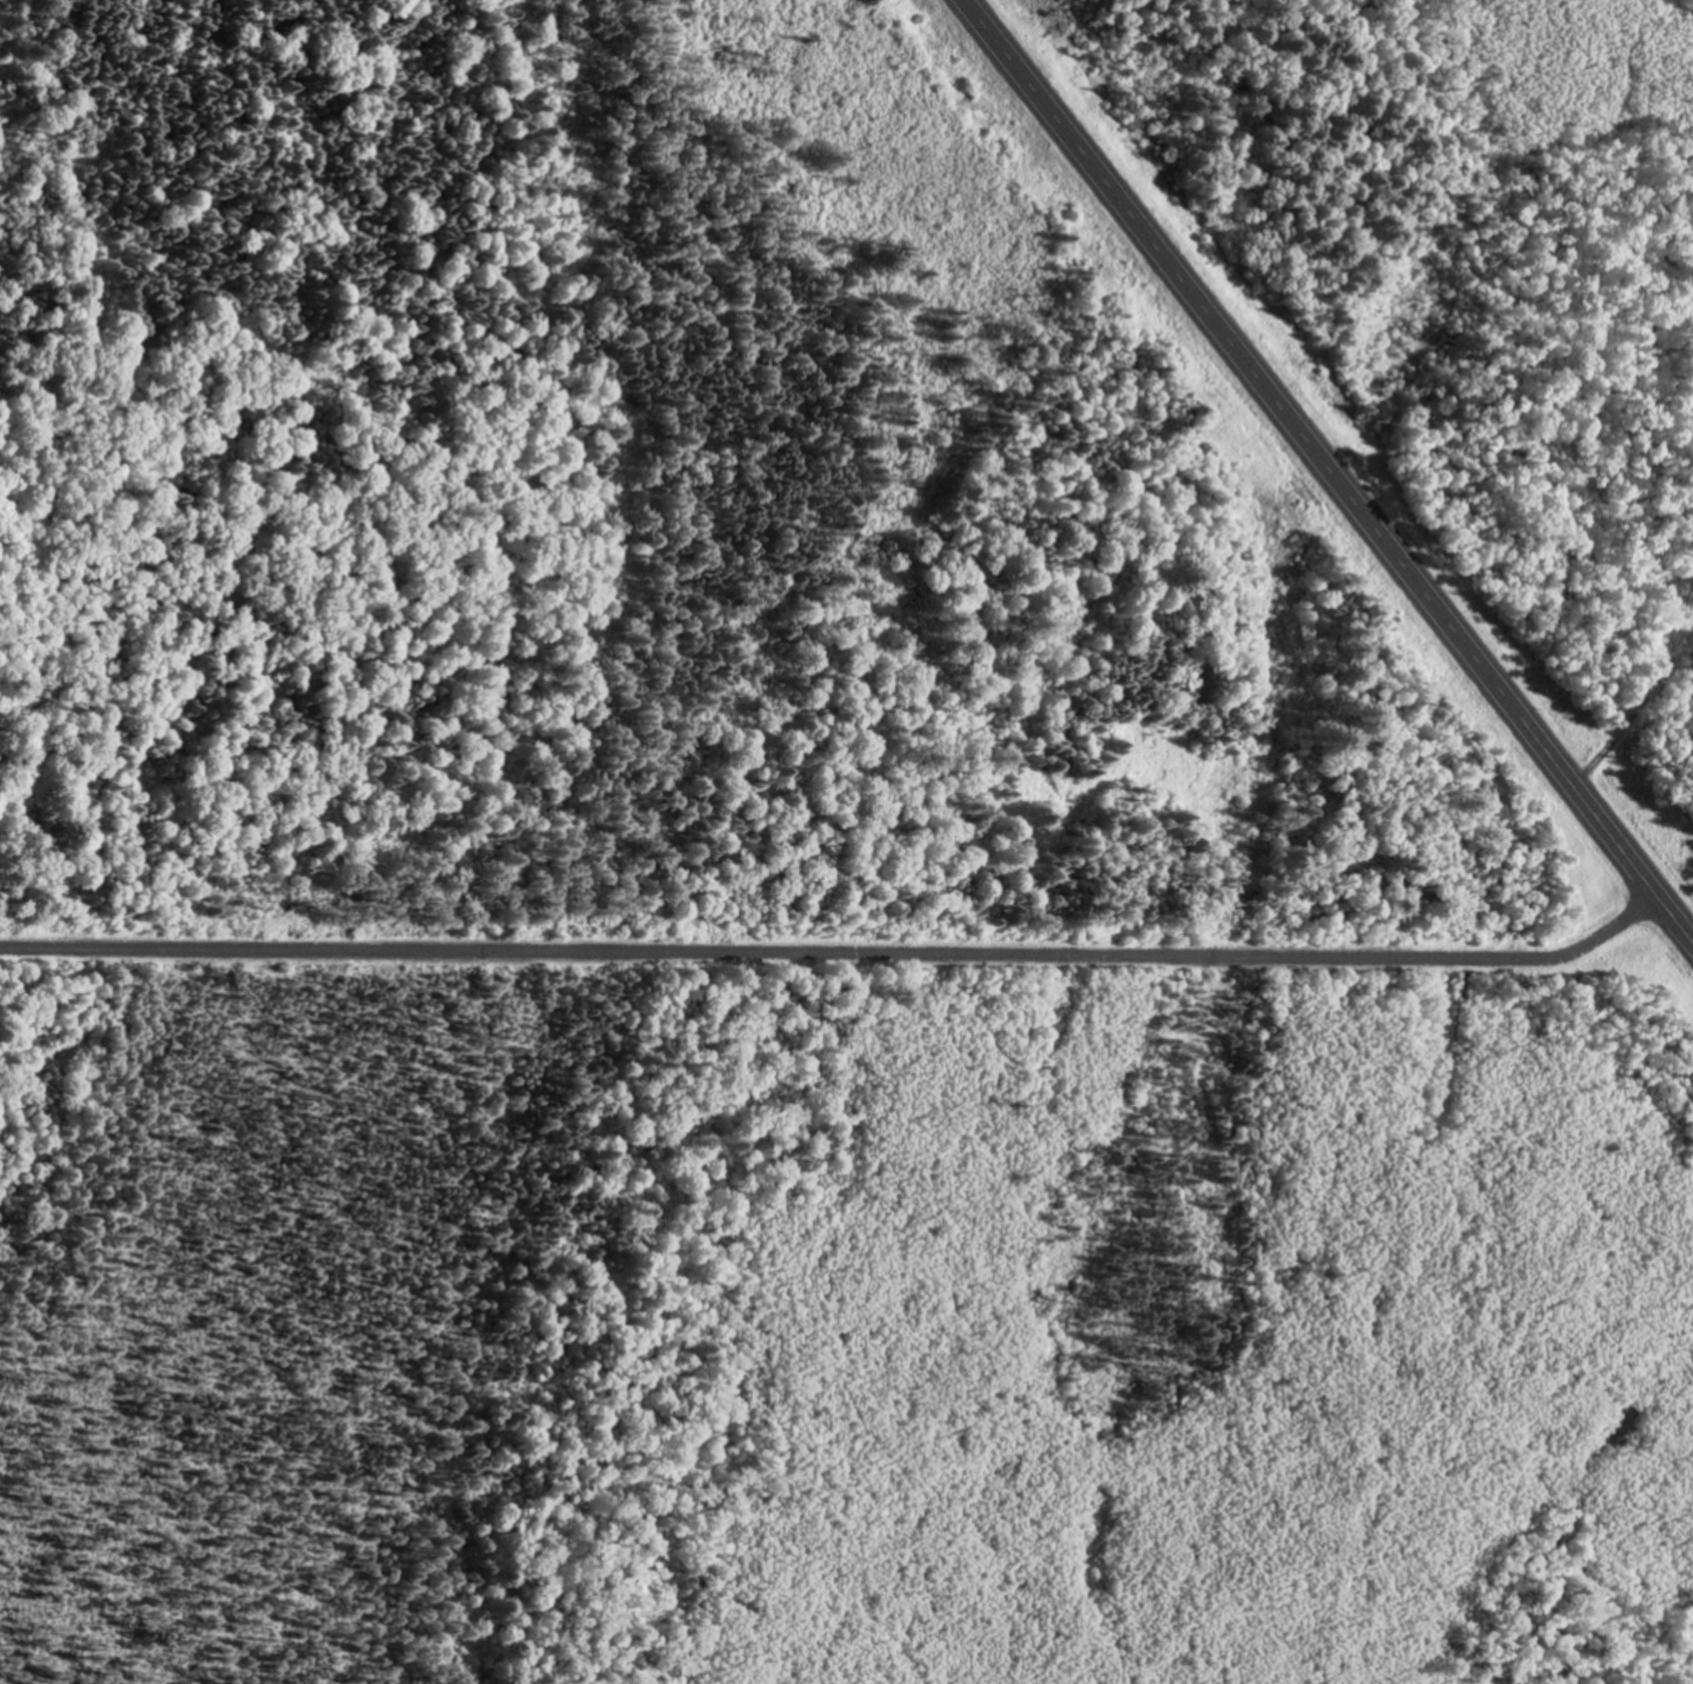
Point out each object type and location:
road: (1329, 469)
road: (838, 955)

